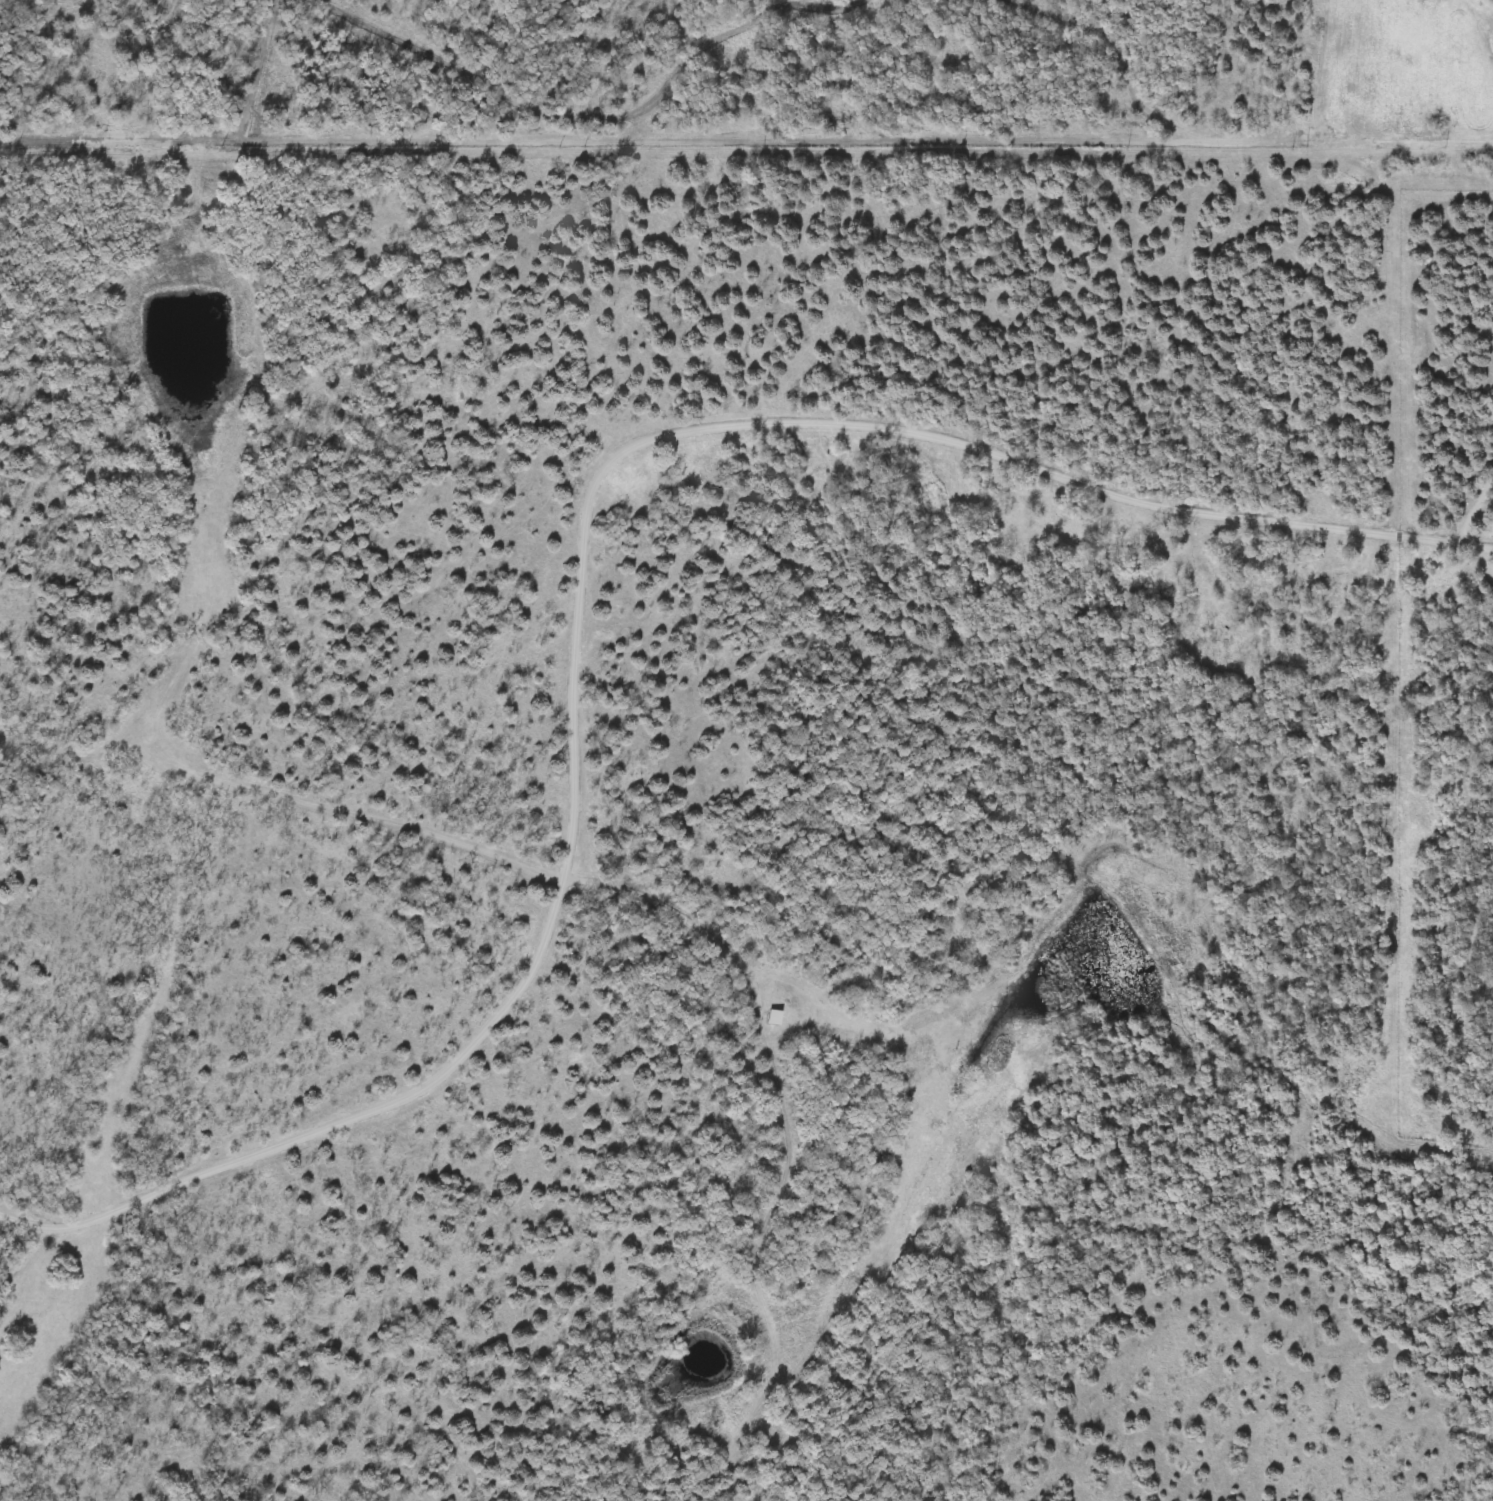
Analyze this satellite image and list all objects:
road: (1477, 513)
road: (584, 573)
road: (682, 918)

